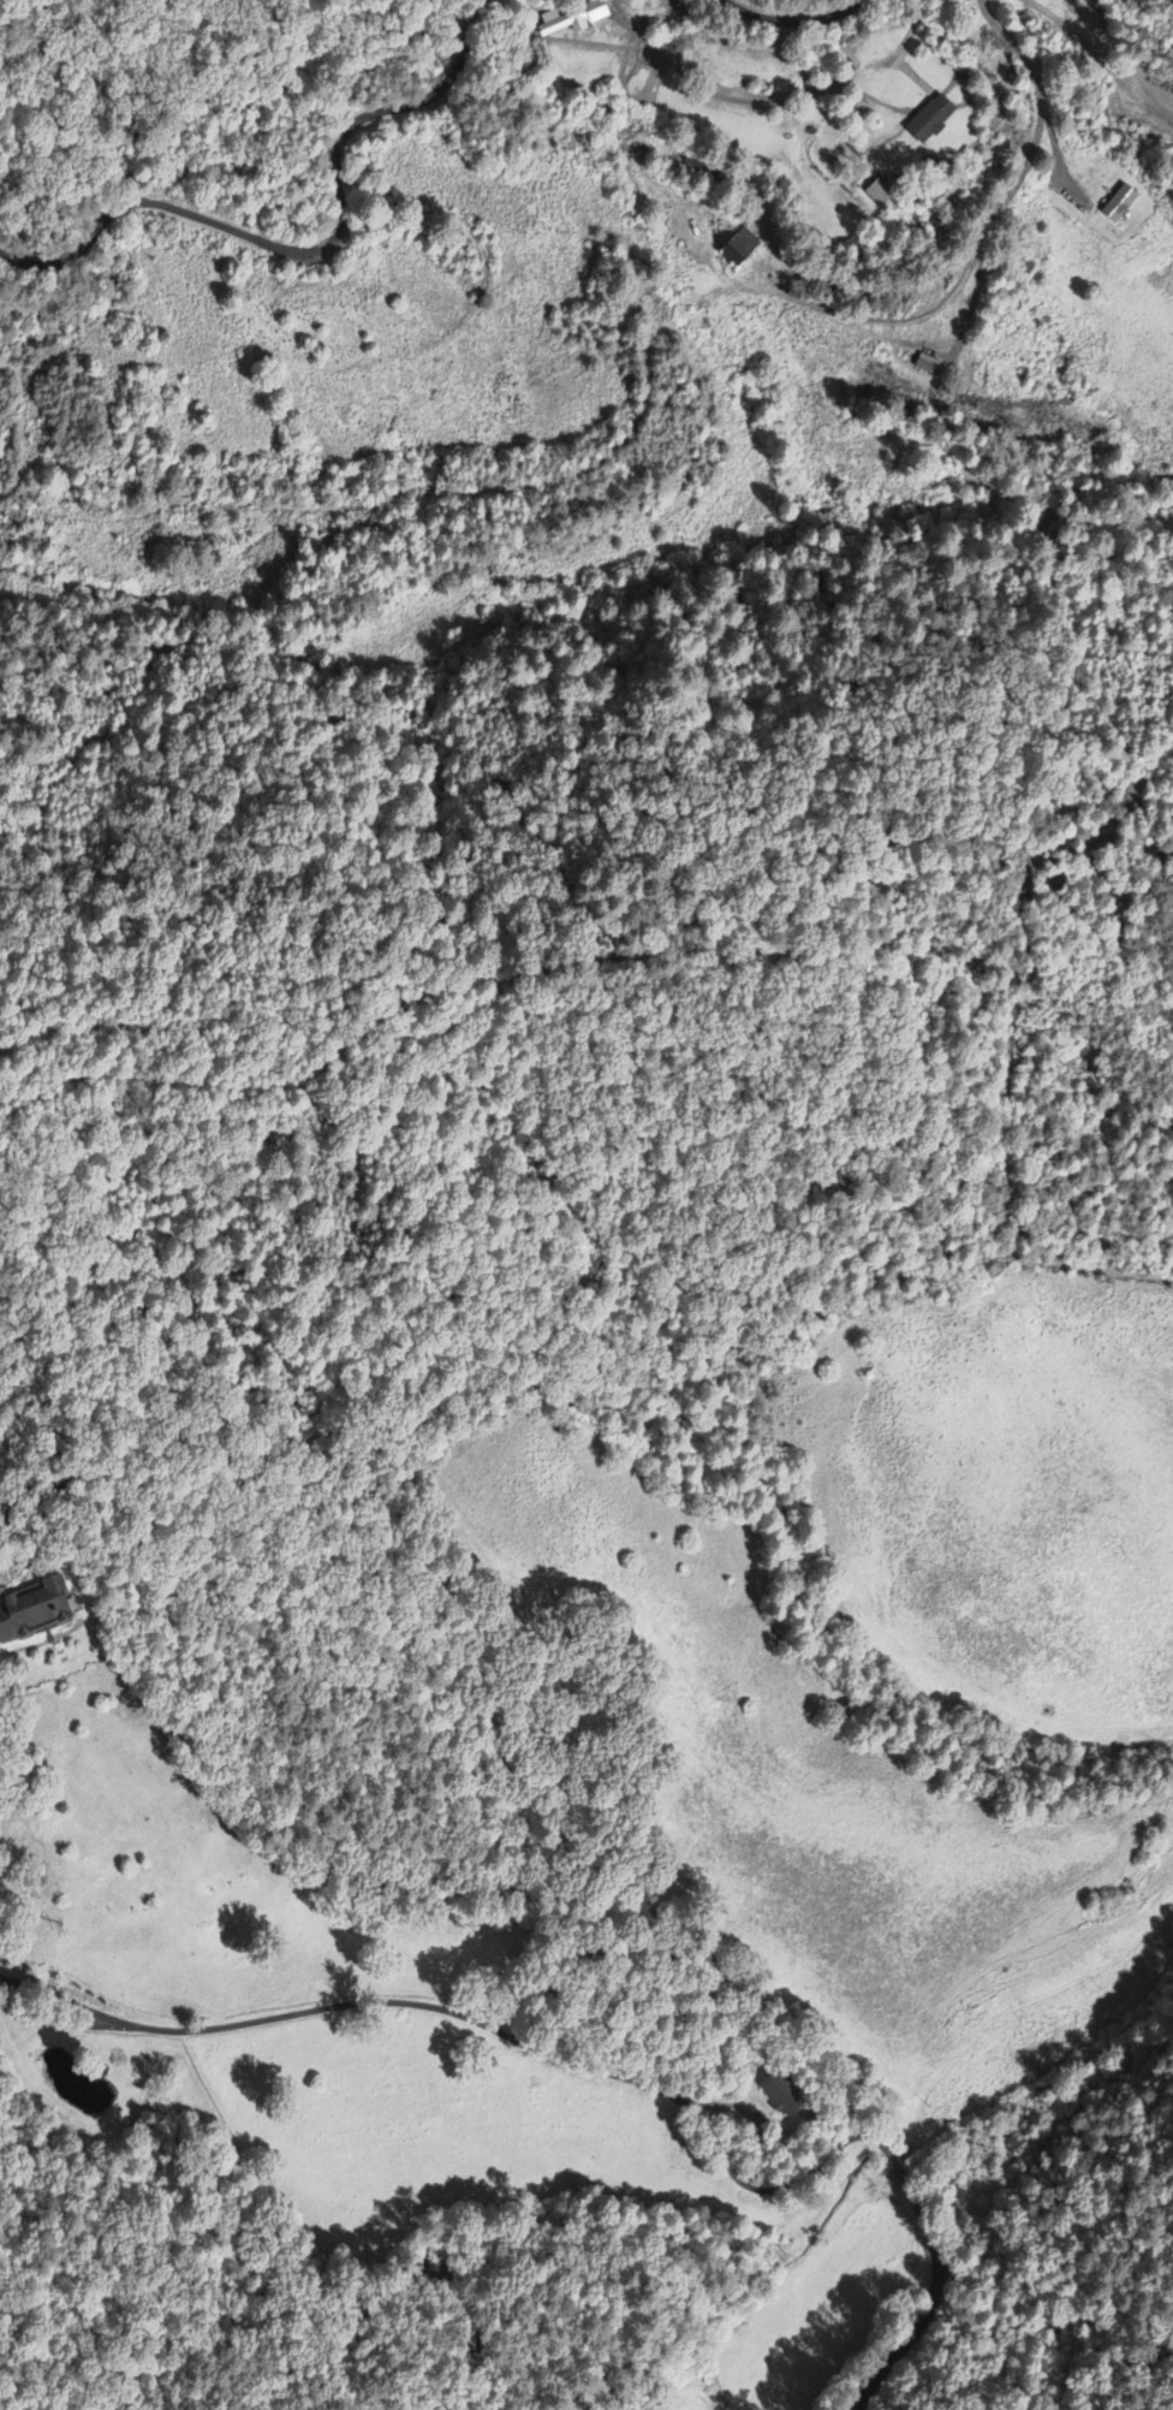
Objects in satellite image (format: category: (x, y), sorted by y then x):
building: (573, 19)
road: (793, 22)
road: (910, 30)
road: (1098, 53)
building: (929, 120)
road: (1037, 130)
building: (877, 194)
building: (1117, 203)
building: (738, 248)
road: (308, 249)
road: (875, 320)
building: (928, 366)
building: (35, 1609)
road: (608, 2071)
building: (782, 2096)
road: (894, 2156)

